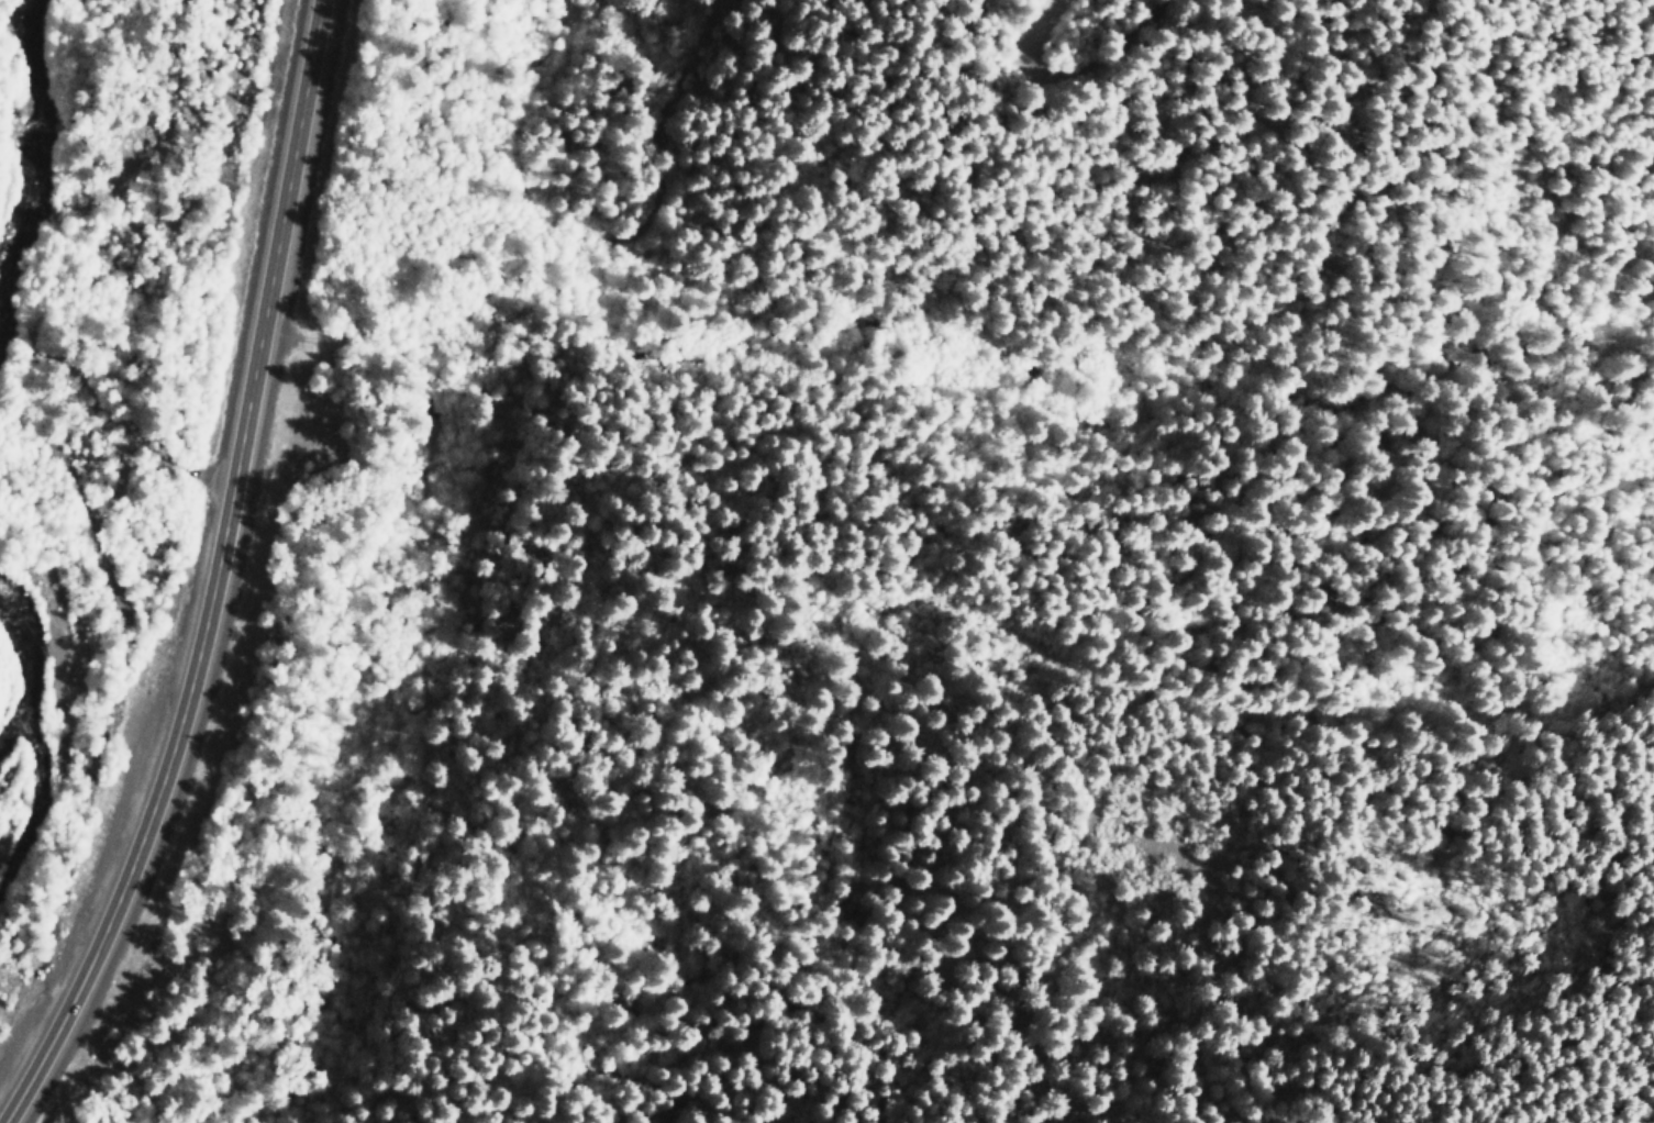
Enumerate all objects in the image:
road: (586, 47)
river: (12, 110)
road: (218, 578)
river: (8, 702)

